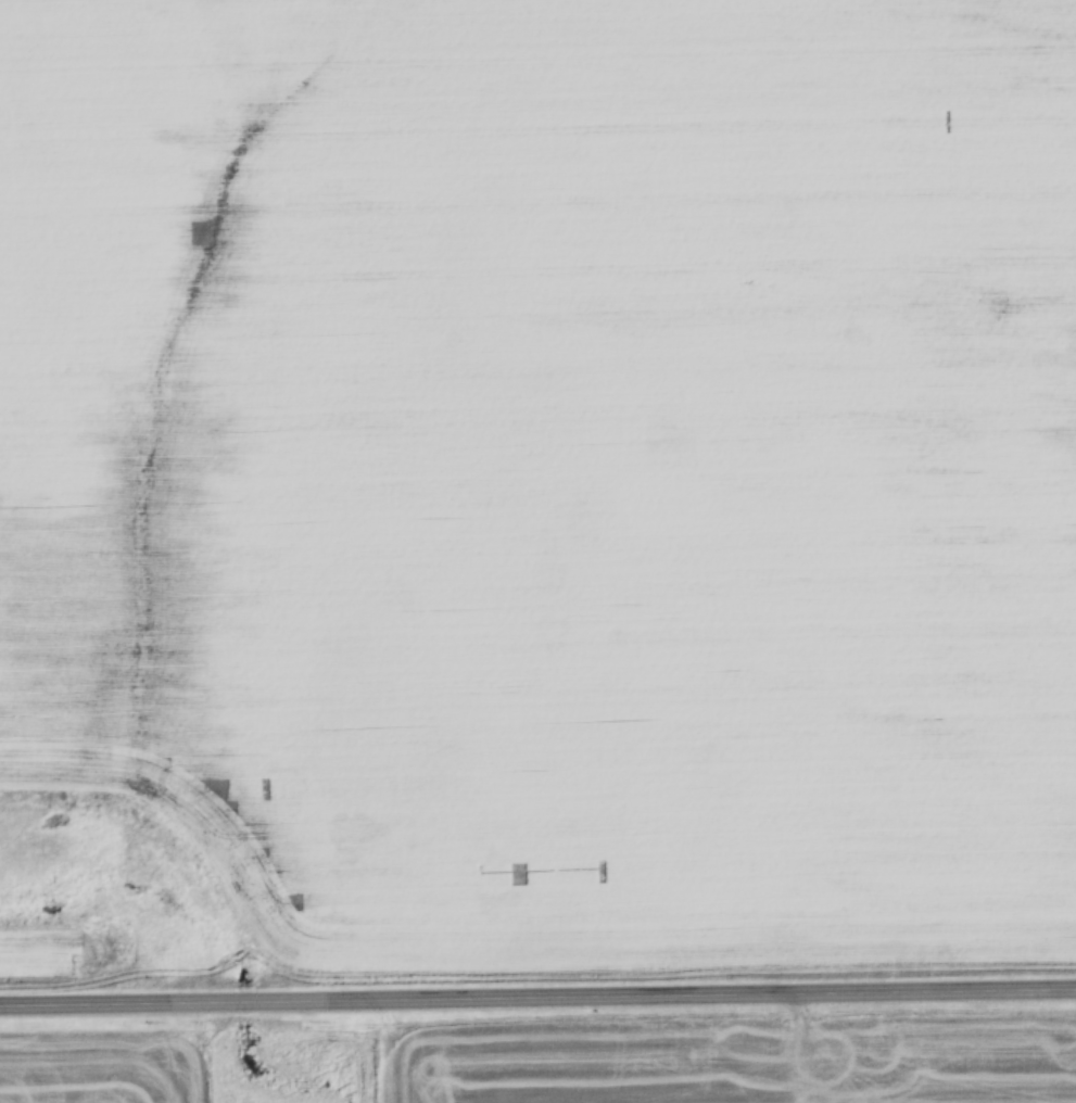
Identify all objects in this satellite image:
road: (537, 1006)

